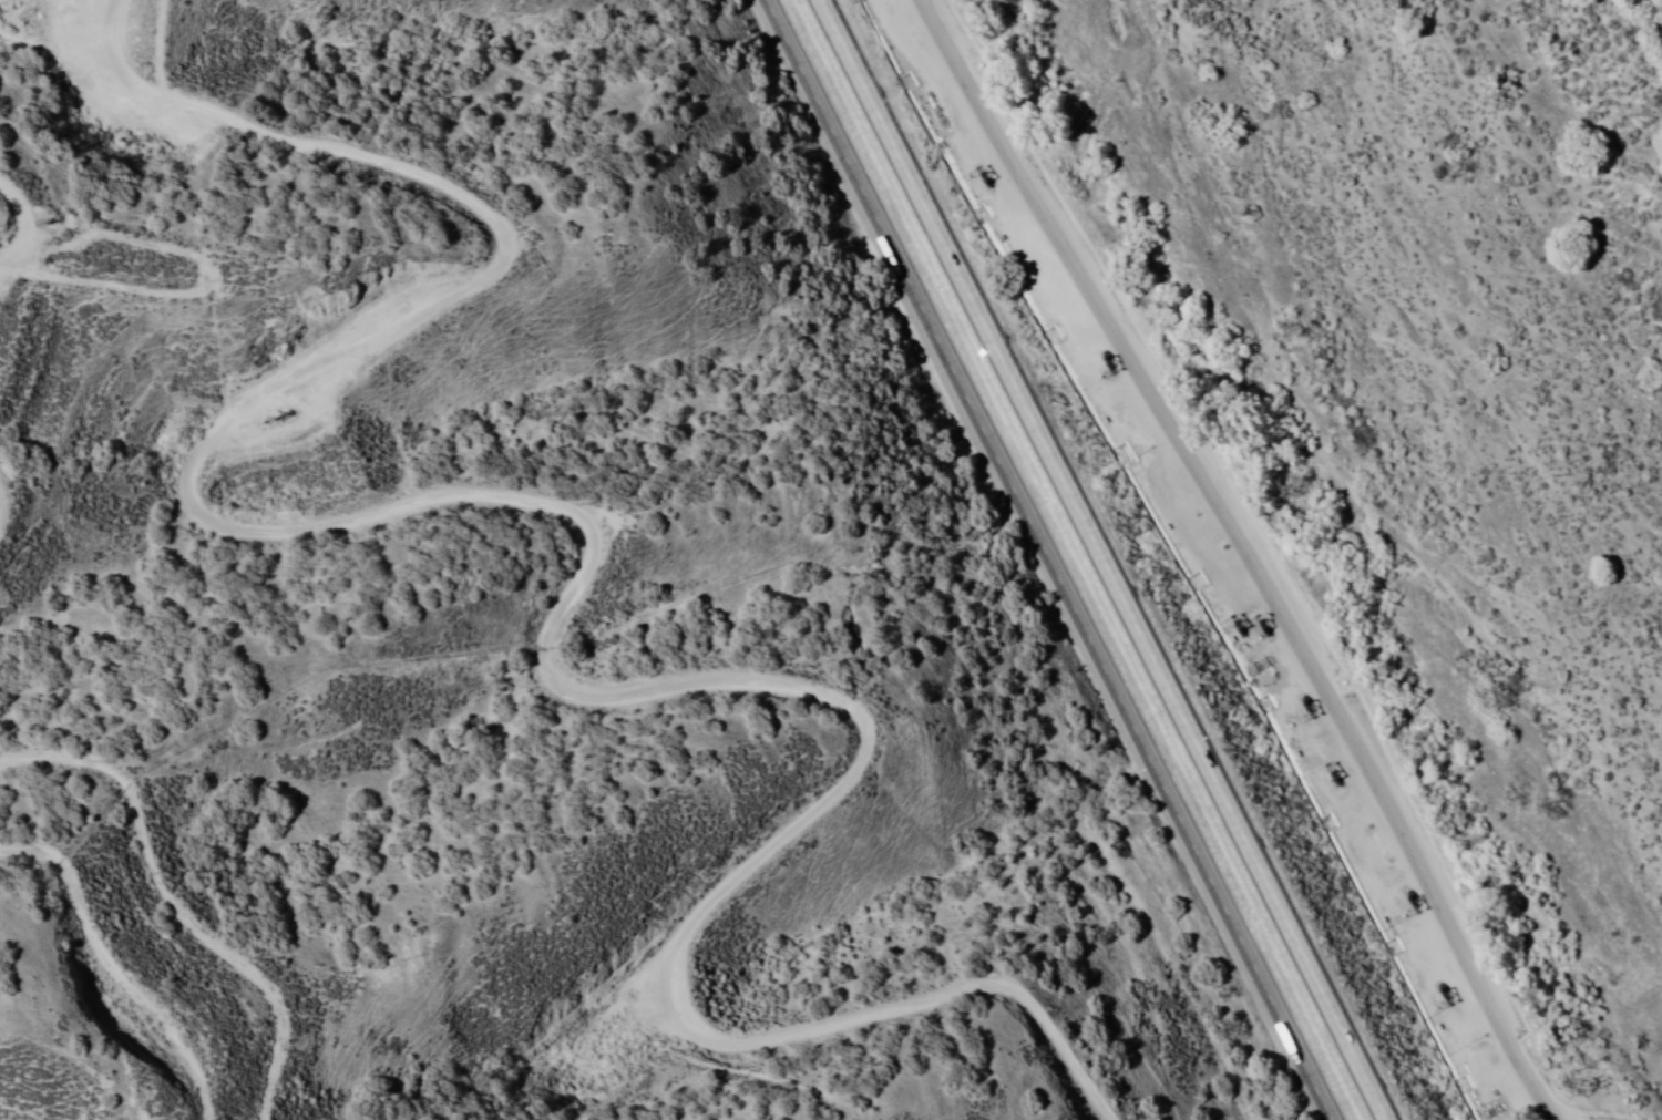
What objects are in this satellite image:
road: (567, 530)
road: (1043, 559)
road: (1100, 559)
road: (1233, 563)
road: (166, 922)
road: (74, 1032)

